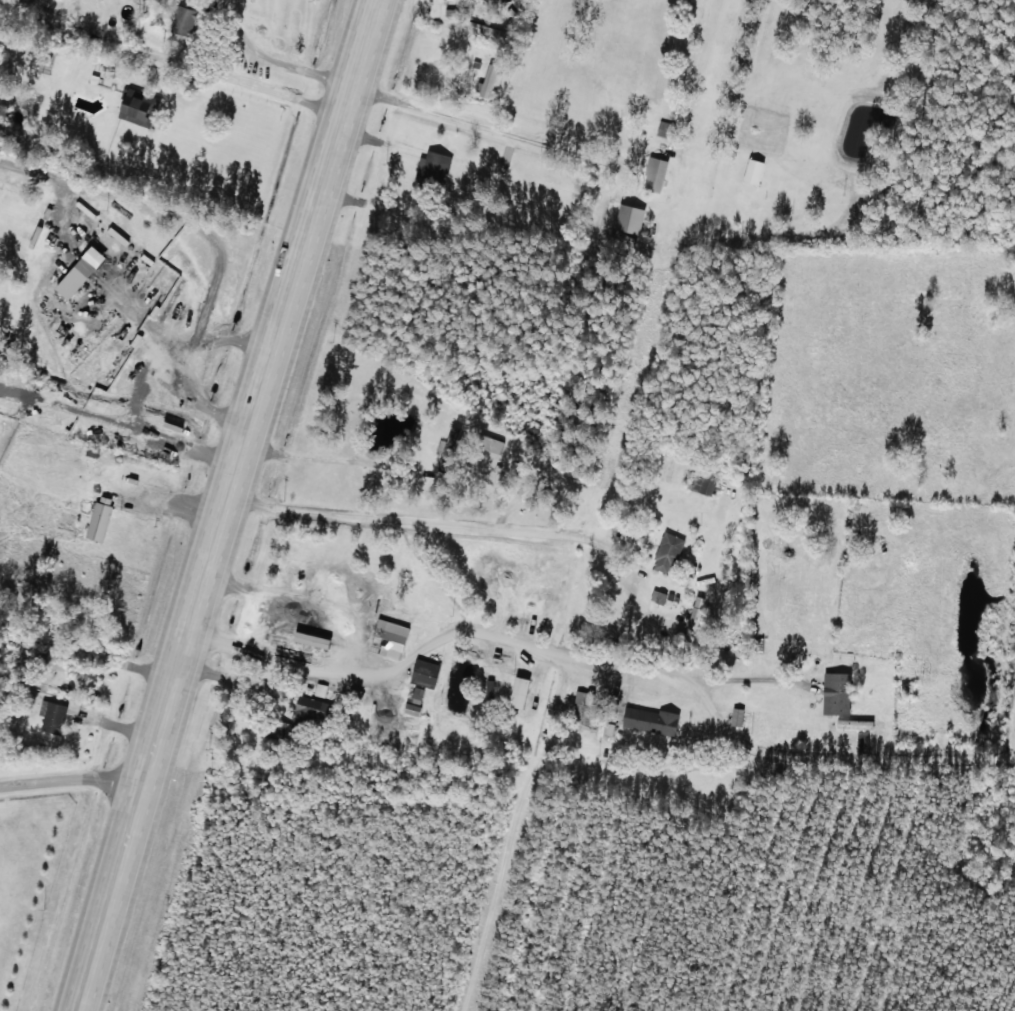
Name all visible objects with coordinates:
building: (450, 12)
building: (182, 20)
building: (488, 82)
road: (172, 85)
building: (137, 108)
road: (340, 123)
building: (431, 171)
building: (752, 172)
building: (653, 175)
building: (627, 219)
building: (80, 225)
building: (79, 269)
building: (490, 445)
building: (701, 485)
building: (99, 518)
building: (666, 553)
building: (693, 618)
road: (191, 628)
building: (388, 638)
road: (654, 647)
building: (424, 672)
building: (517, 691)
building: (835, 693)
building: (417, 695)
building: (412, 709)
building: (307, 710)
building: (736, 716)
building: (53, 717)
building: (650, 720)
road: (72, 796)

